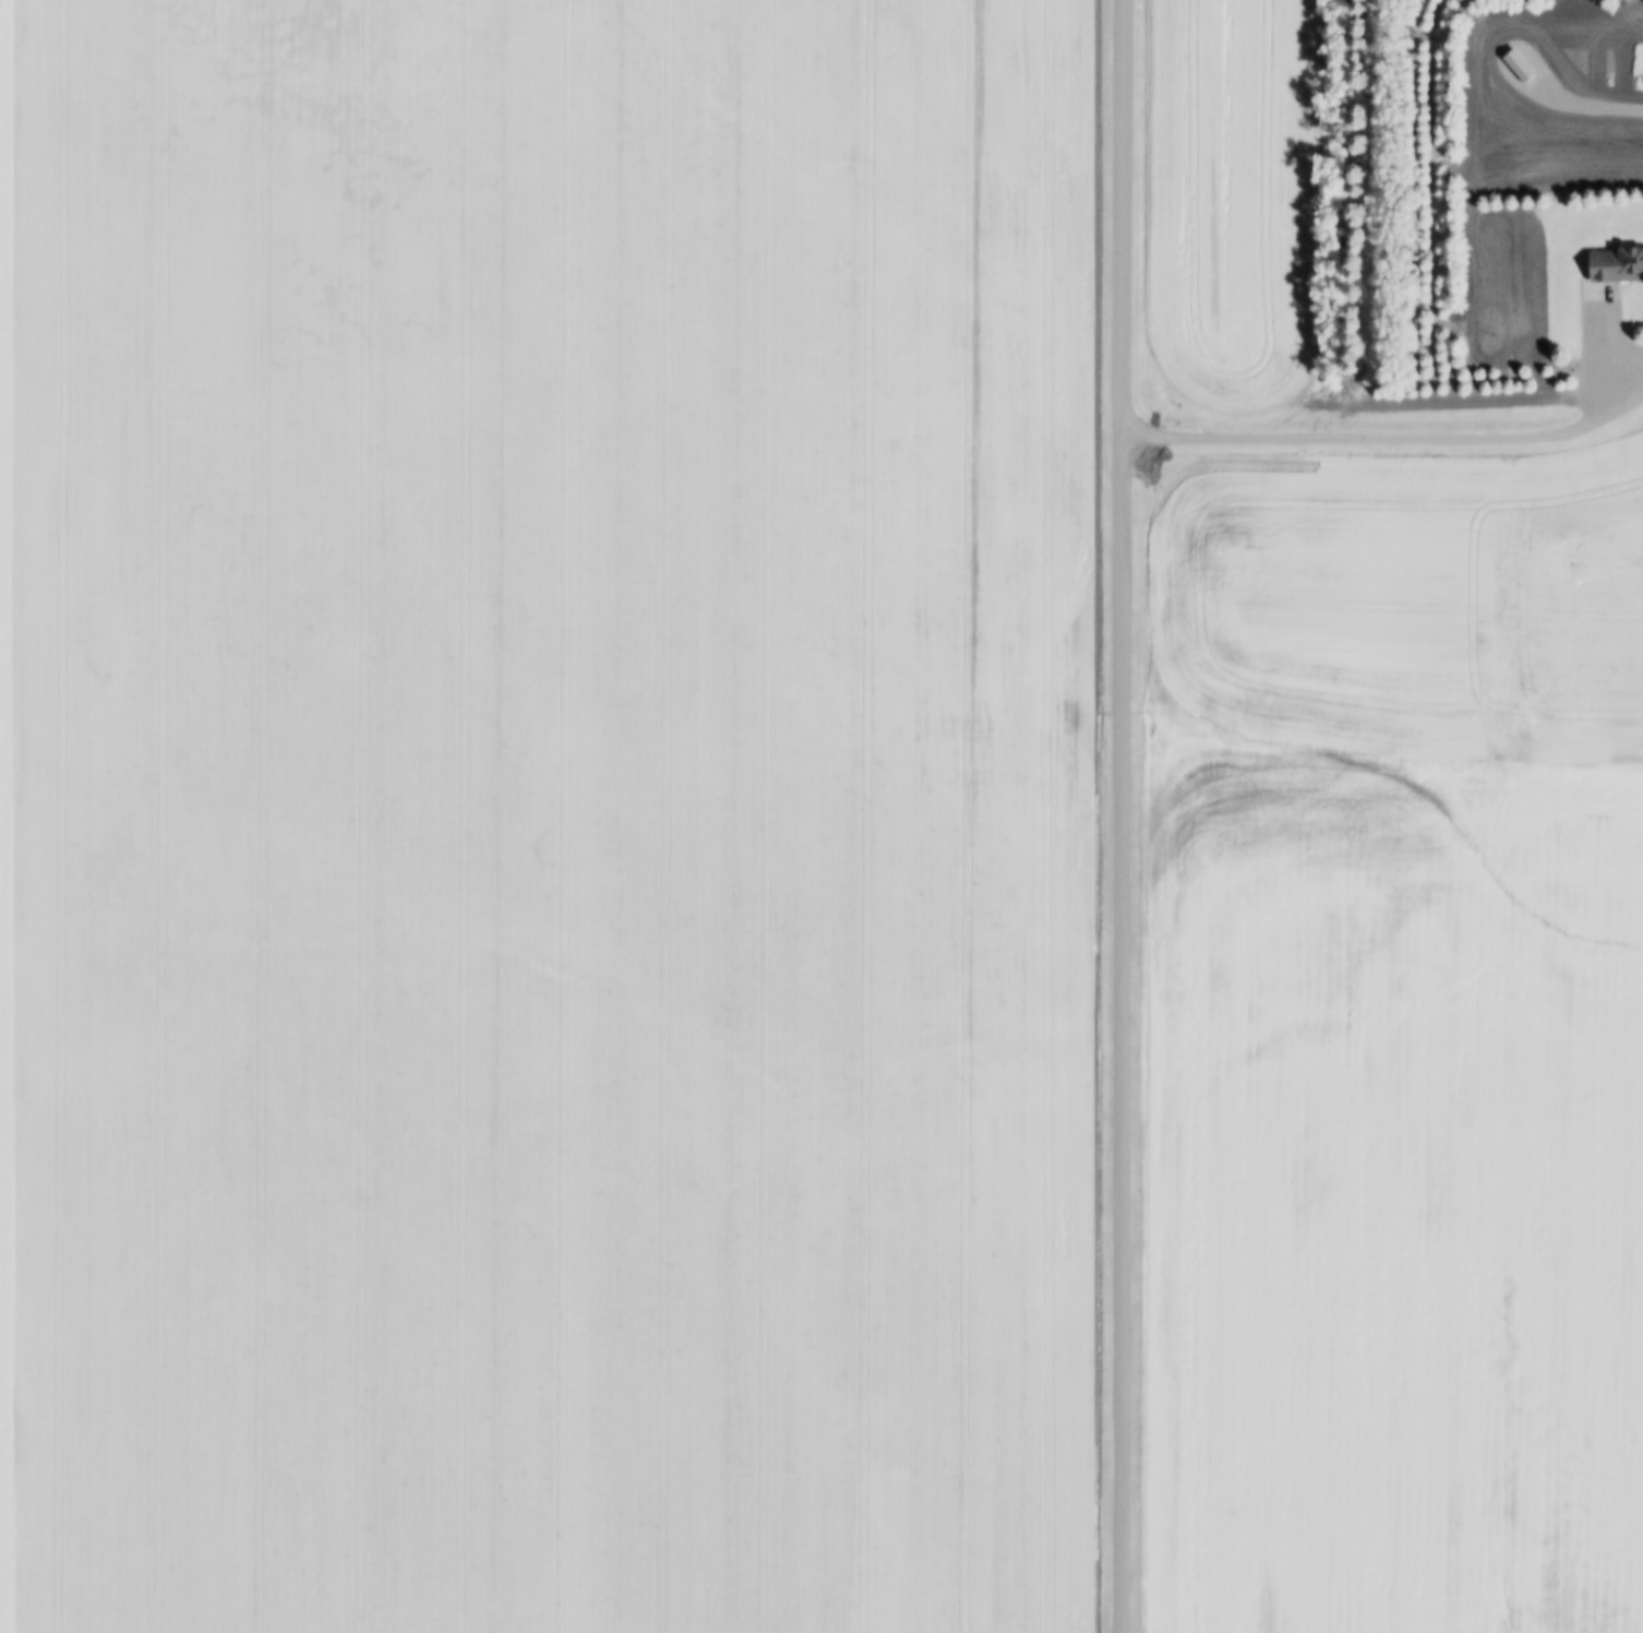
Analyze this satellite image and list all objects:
building: (1611, 276)
road: (1389, 429)
road: (1126, 815)

